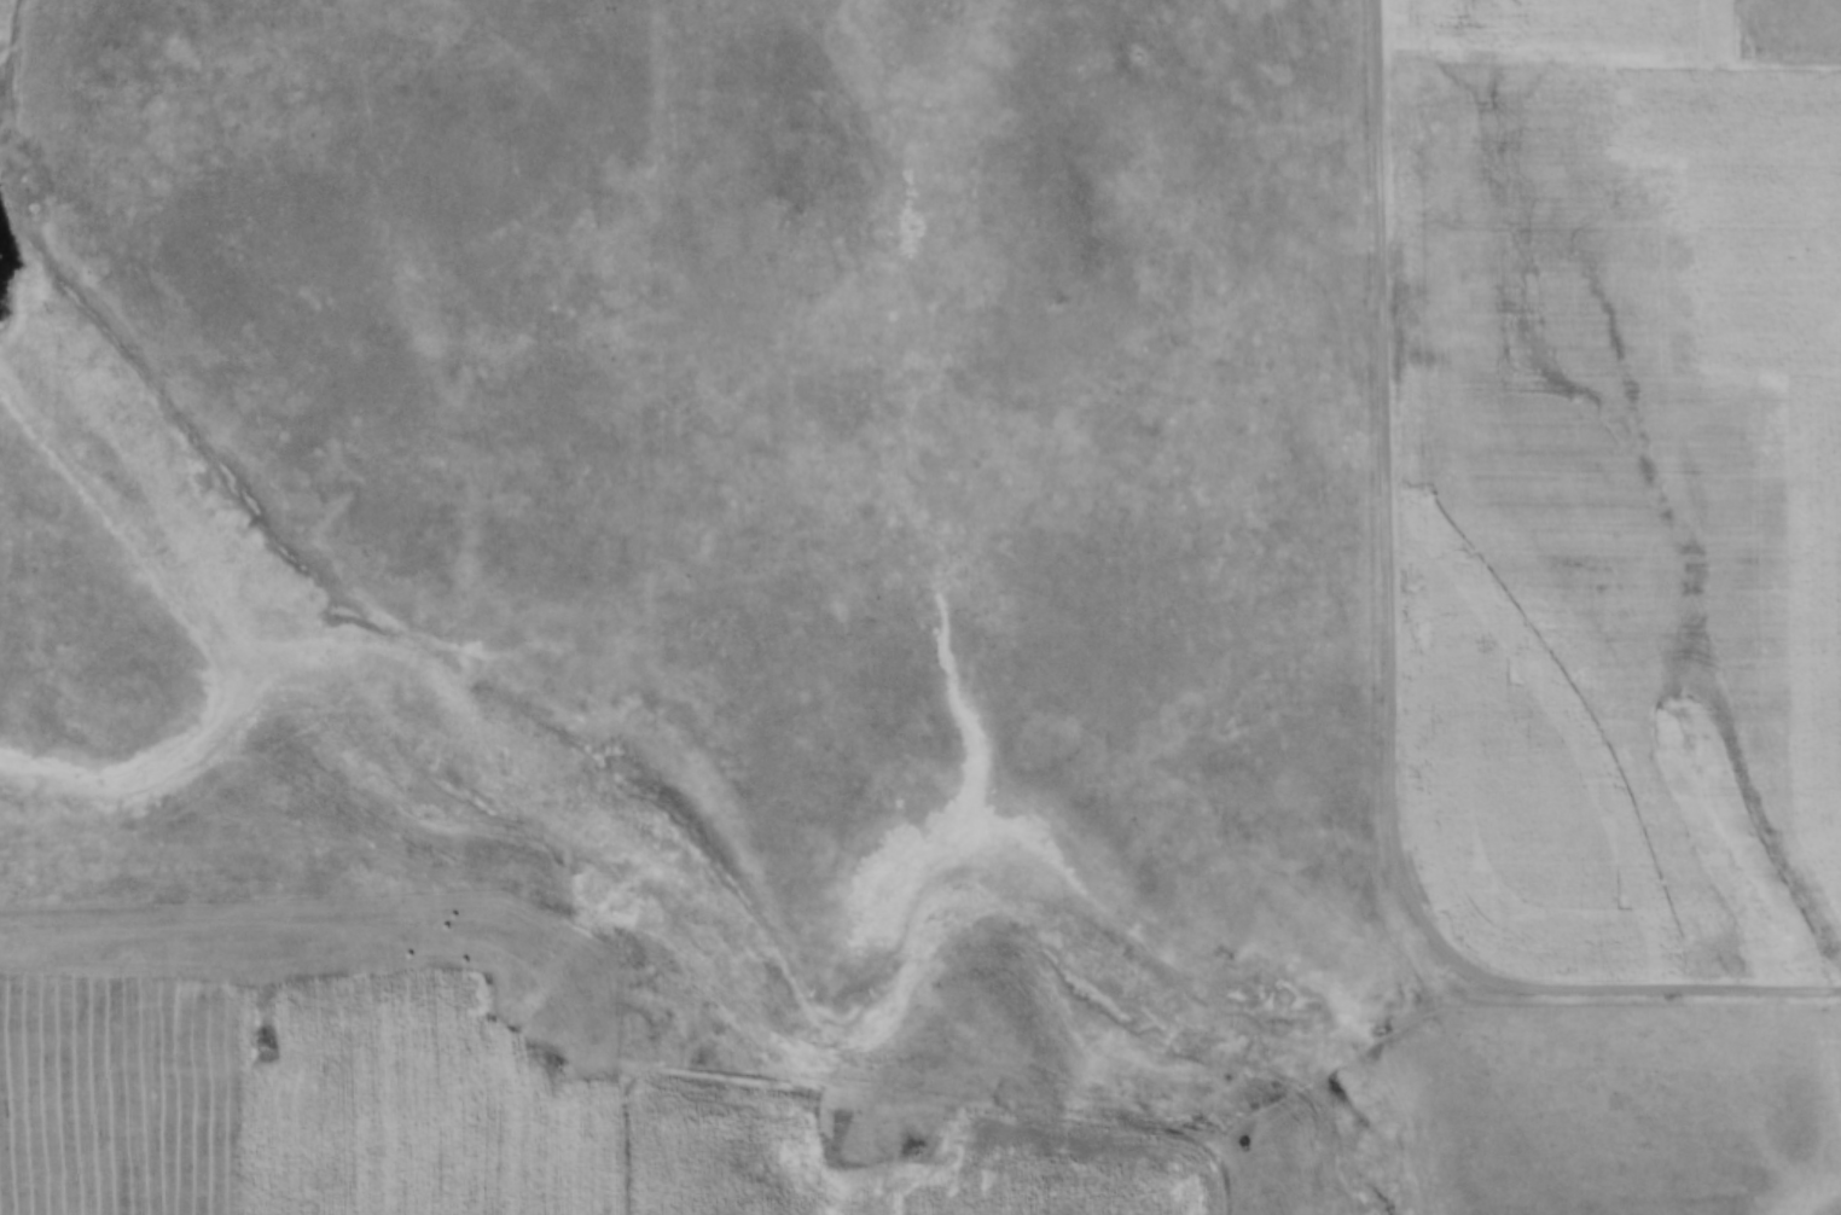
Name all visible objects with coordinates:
road: (1394, 550)
road: (1697, 993)

